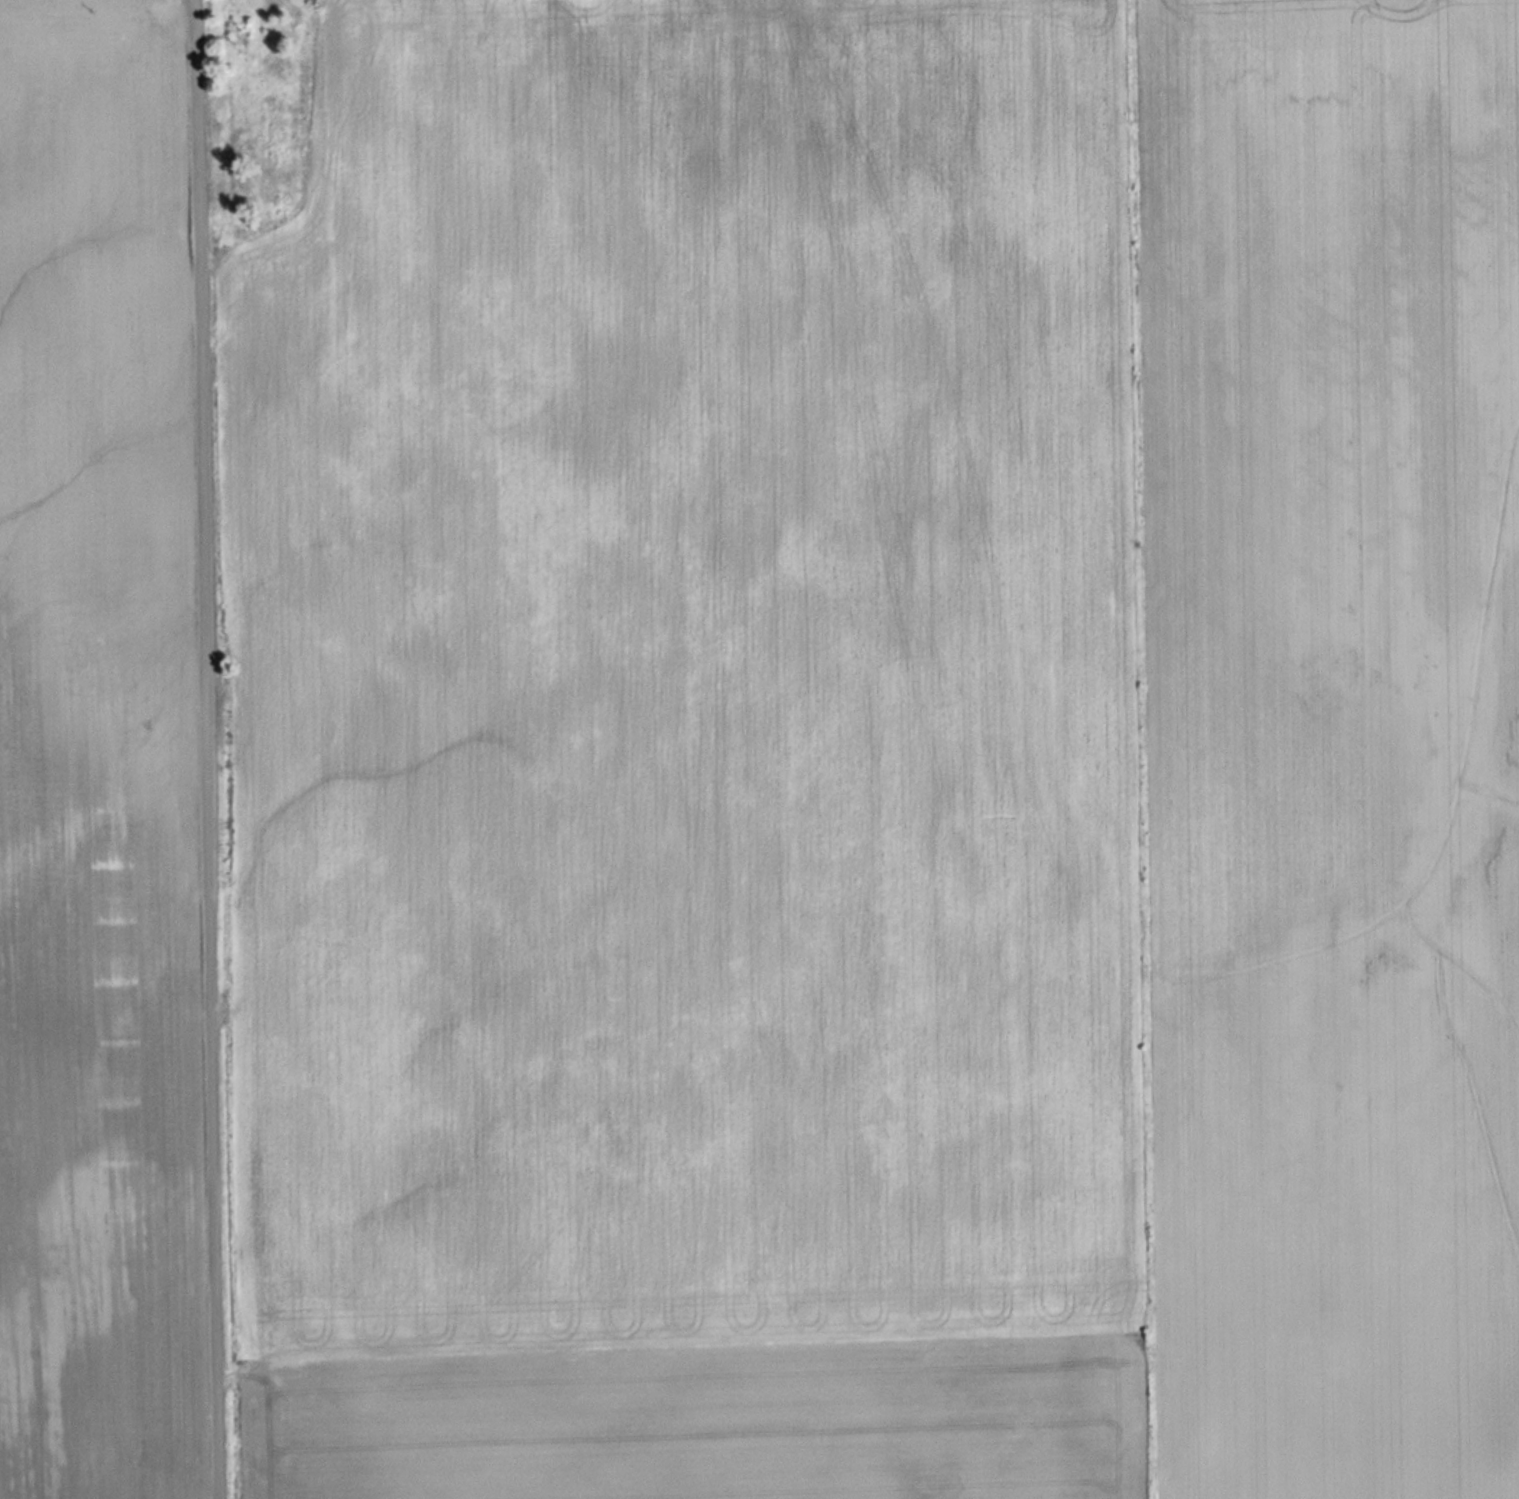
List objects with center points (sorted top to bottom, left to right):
road: (207, 749)

